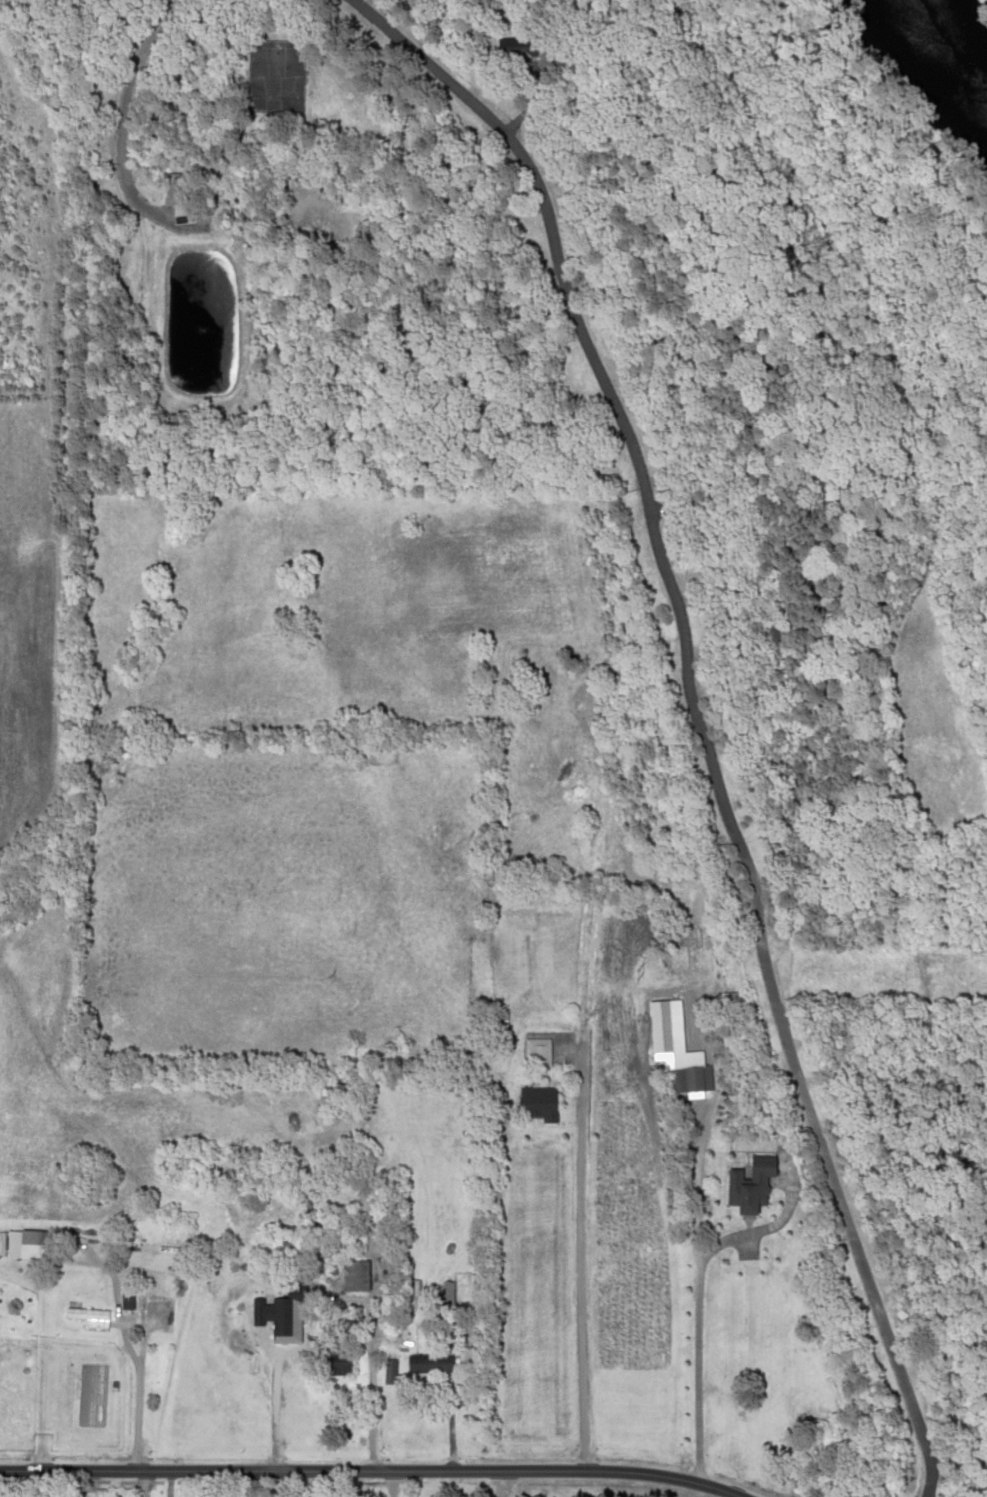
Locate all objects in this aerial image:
building: (518, 45)
road: (118, 123)
building: (180, 208)
road: (695, 715)
building: (536, 1052)
building: (697, 1077)
building: (538, 1103)
building: (750, 1183)
building: (133, 1240)
building: (346, 1243)
road: (576, 1246)
building: (288, 1249)
building: (354, 1275)
building: (447, 1291)
road: (696, 1292)
building: (89, 1316)
building: (337, 1361)
building: (429, 1363)
road: (370, 1391)
road: (136, 1400)
road: (366, 1470)
road: (140, 1483)
road: (389, 1483)

